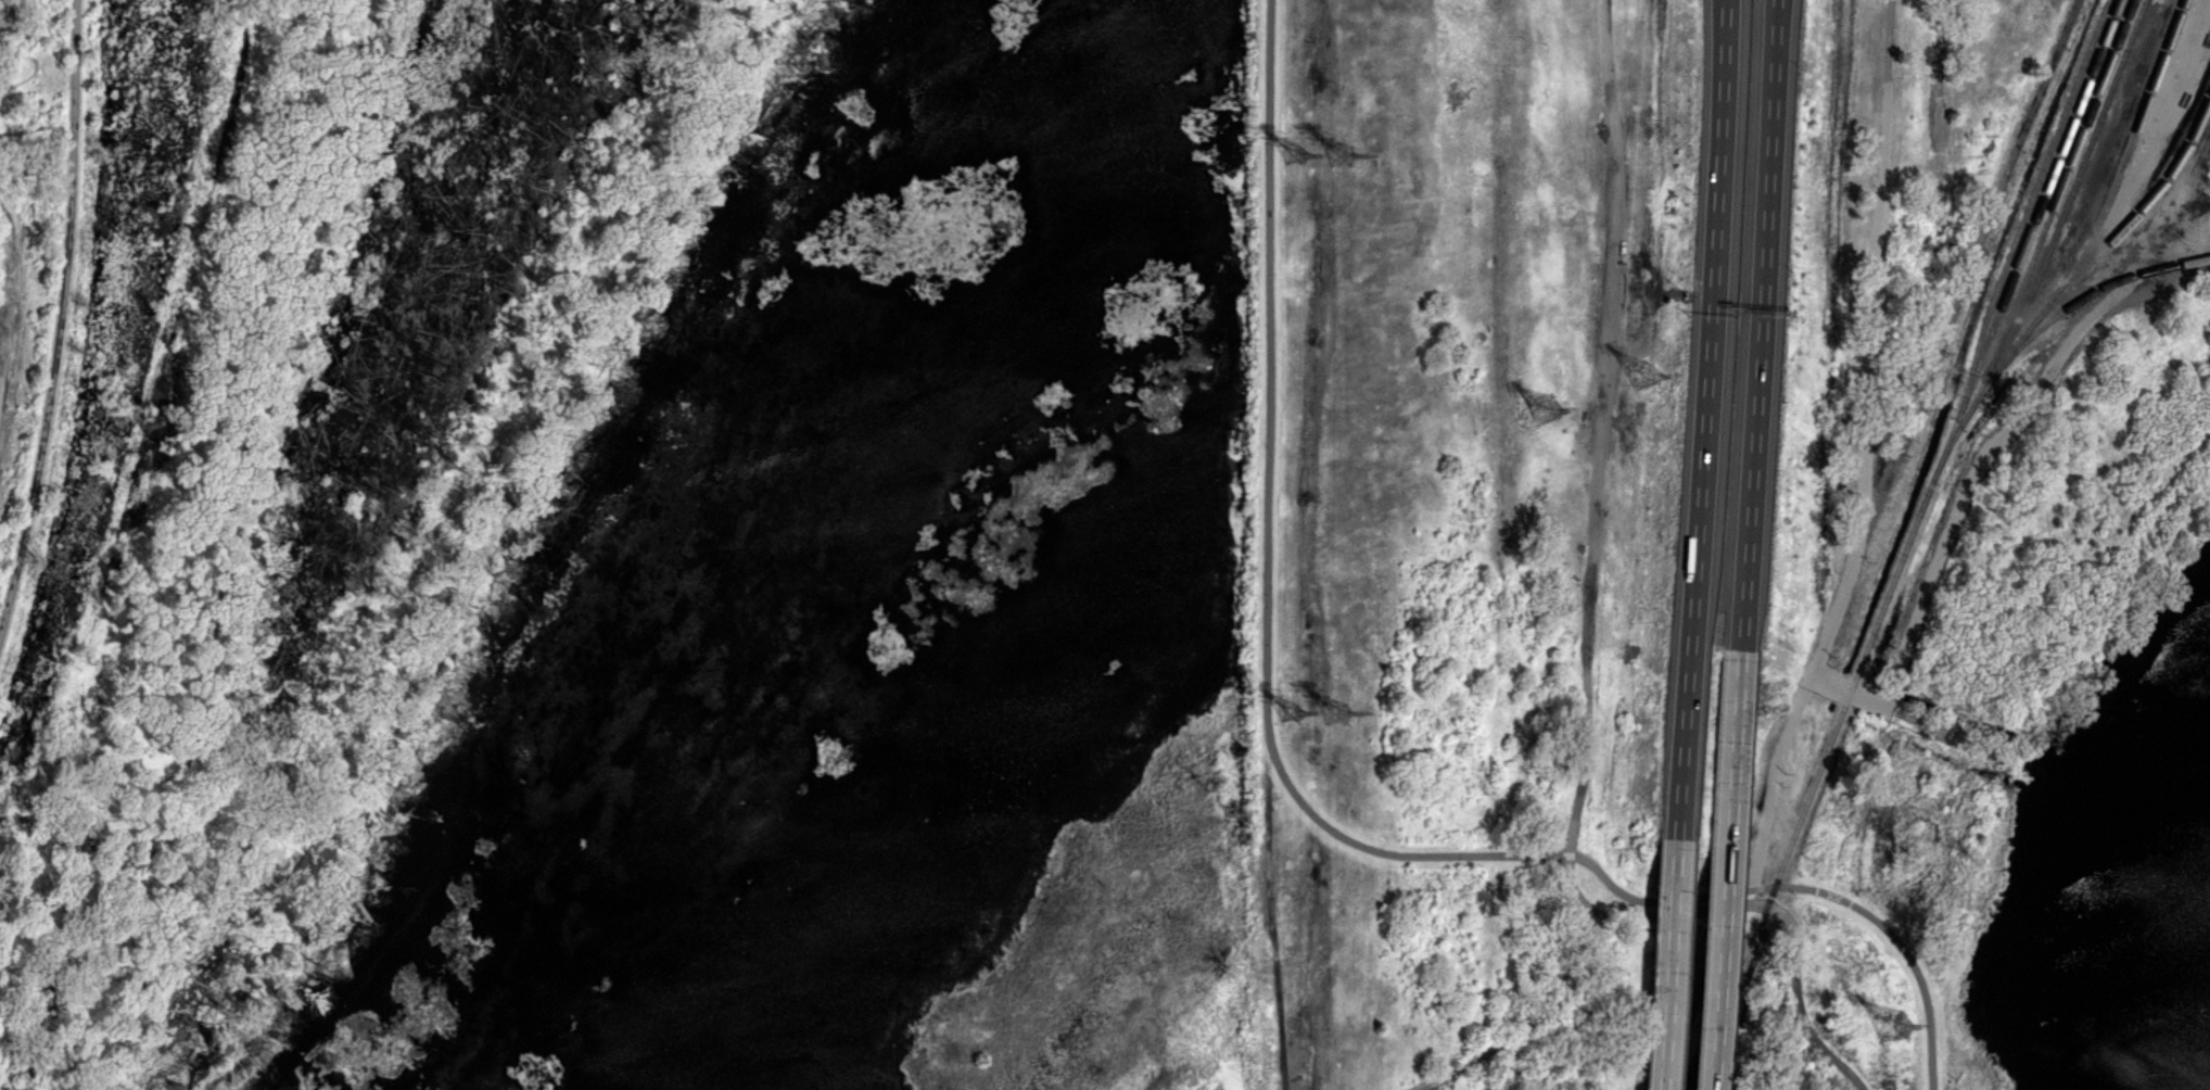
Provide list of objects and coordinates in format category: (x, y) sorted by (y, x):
railway: (2179, 14)
power tower: (1342, 150)
power tower: (1296, 152)
railway: (2116, 174)
railway: (2072, 191)
railway: (2027, 207)
railway: (2040, 243)
railway: (2091, 265)
railway: (2086, 295)
road: (64, 322)
road: (1765, 324)
power tower: (1644, 377)
power tower: (1549, 409)
road: (1710, 419)
railway: (1908, 544)
road: (230, 546)
road: (1589, 657)
power tower: (1338, 709)
power tower: (1294, 713)
road: (1297, 798)
road: (1732, 869)
road: (1673, 964)
power tower: (1892, 1027)

